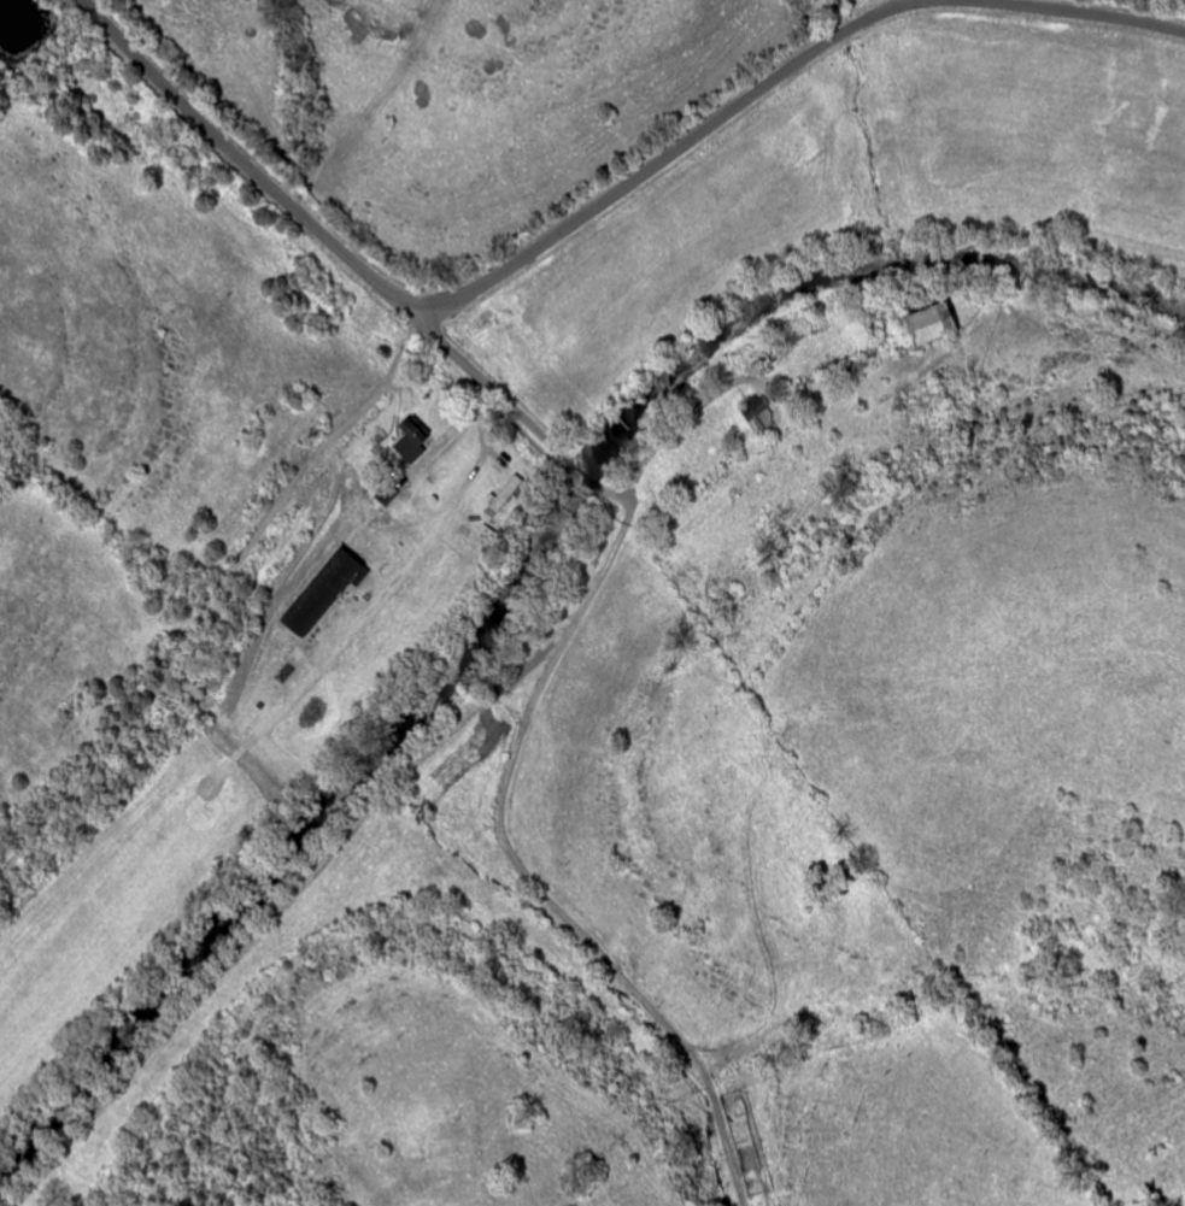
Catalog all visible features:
road: (596, 210)
building: (935, 324)
building: (762, 417)
building: (415, 441)
building: (487, 536)
building: (327, 593)
road: (512, 735)

